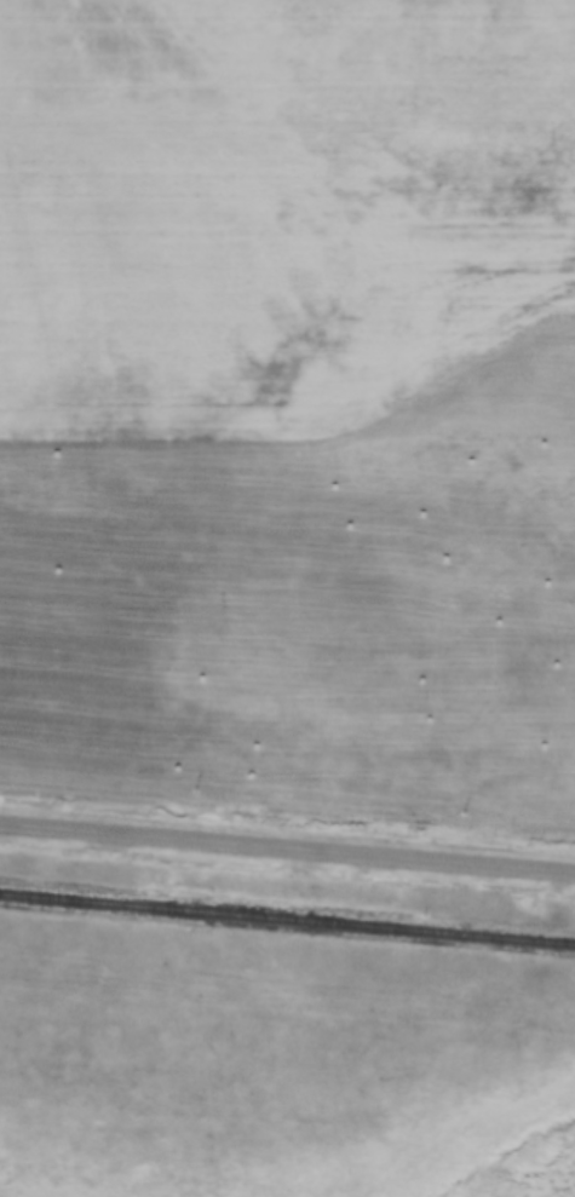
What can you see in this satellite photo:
road: (287, 847)
railway: (287, 913)

